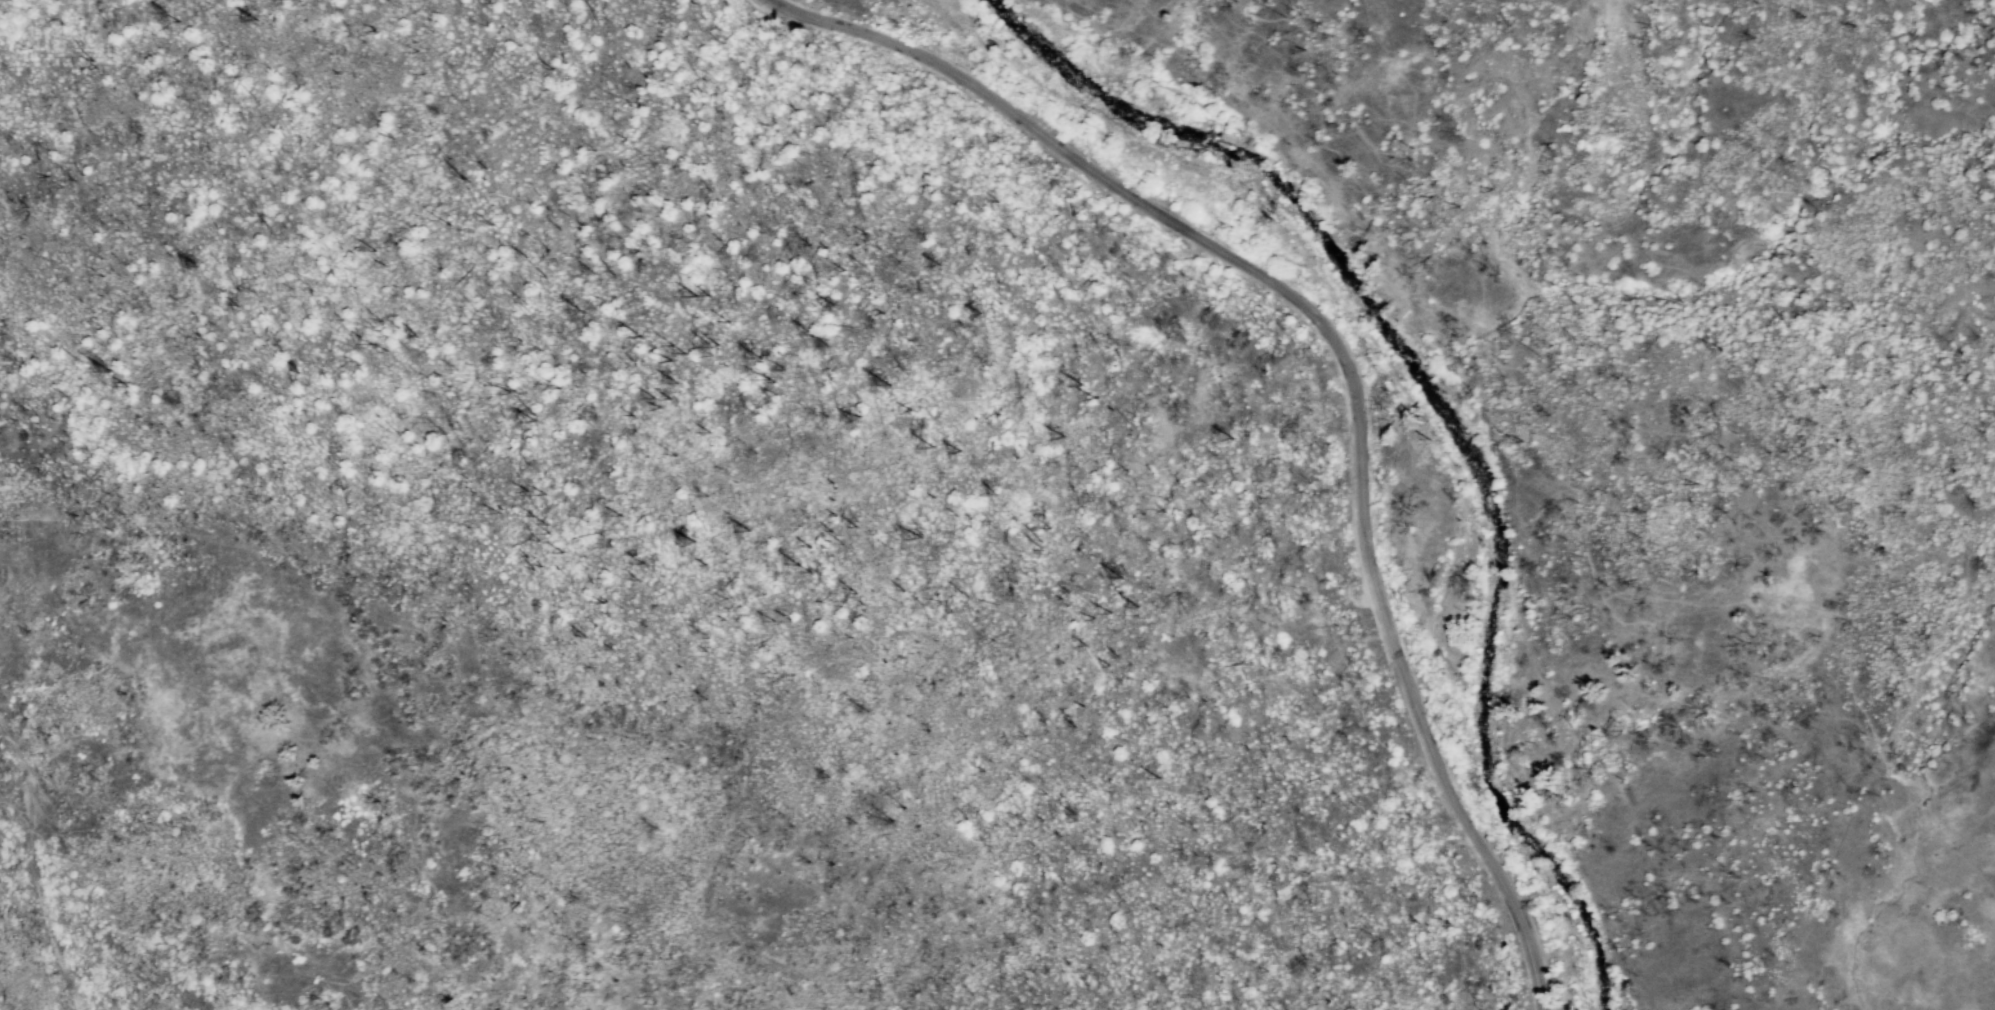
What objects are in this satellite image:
road: (1345, 362)
road: (34, 865)

